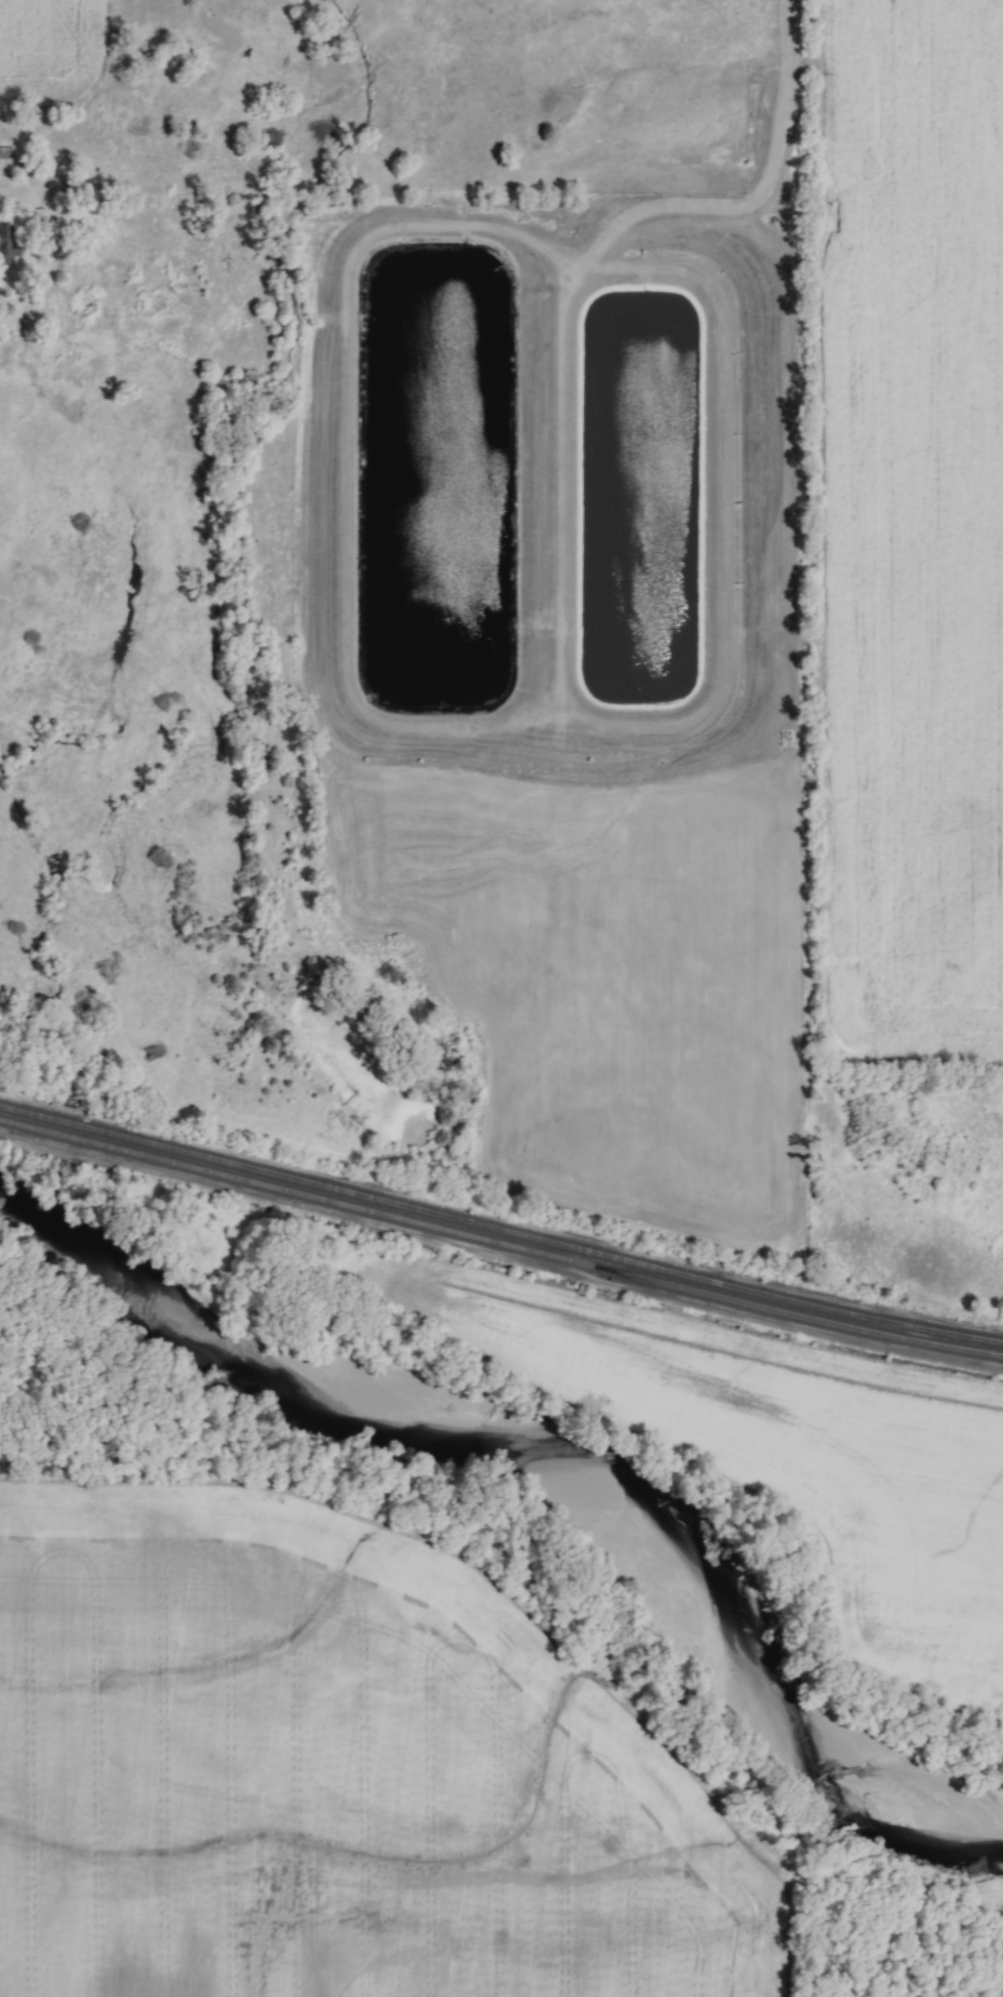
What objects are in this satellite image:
building: (138, 147)
building: (6, 152)
road: (6, 194)
building: (6, 247)
building: (145, 274)
building: (168, 274)
railway: (500, 1228)
railway: (500, 1241)
river: (548, 1466)

